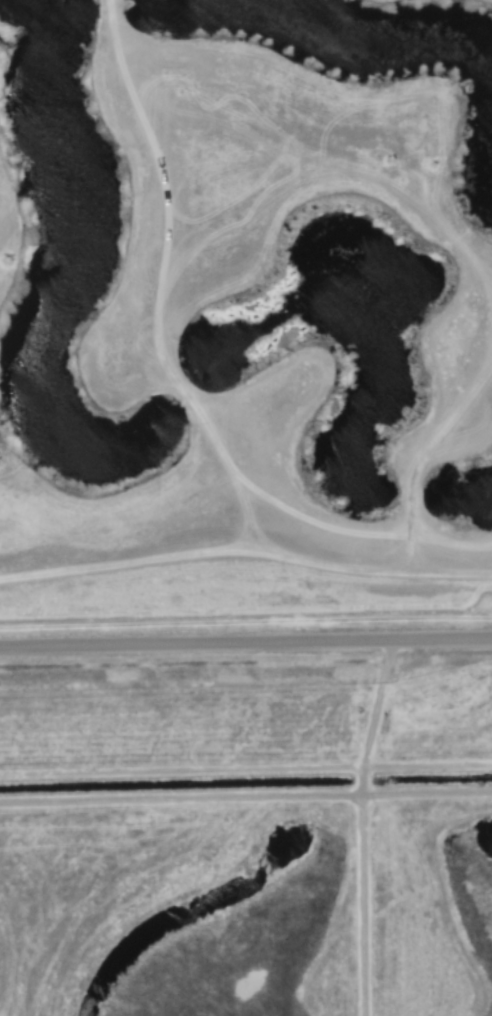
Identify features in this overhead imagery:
road: (245, 647)
road: (253, 796)

